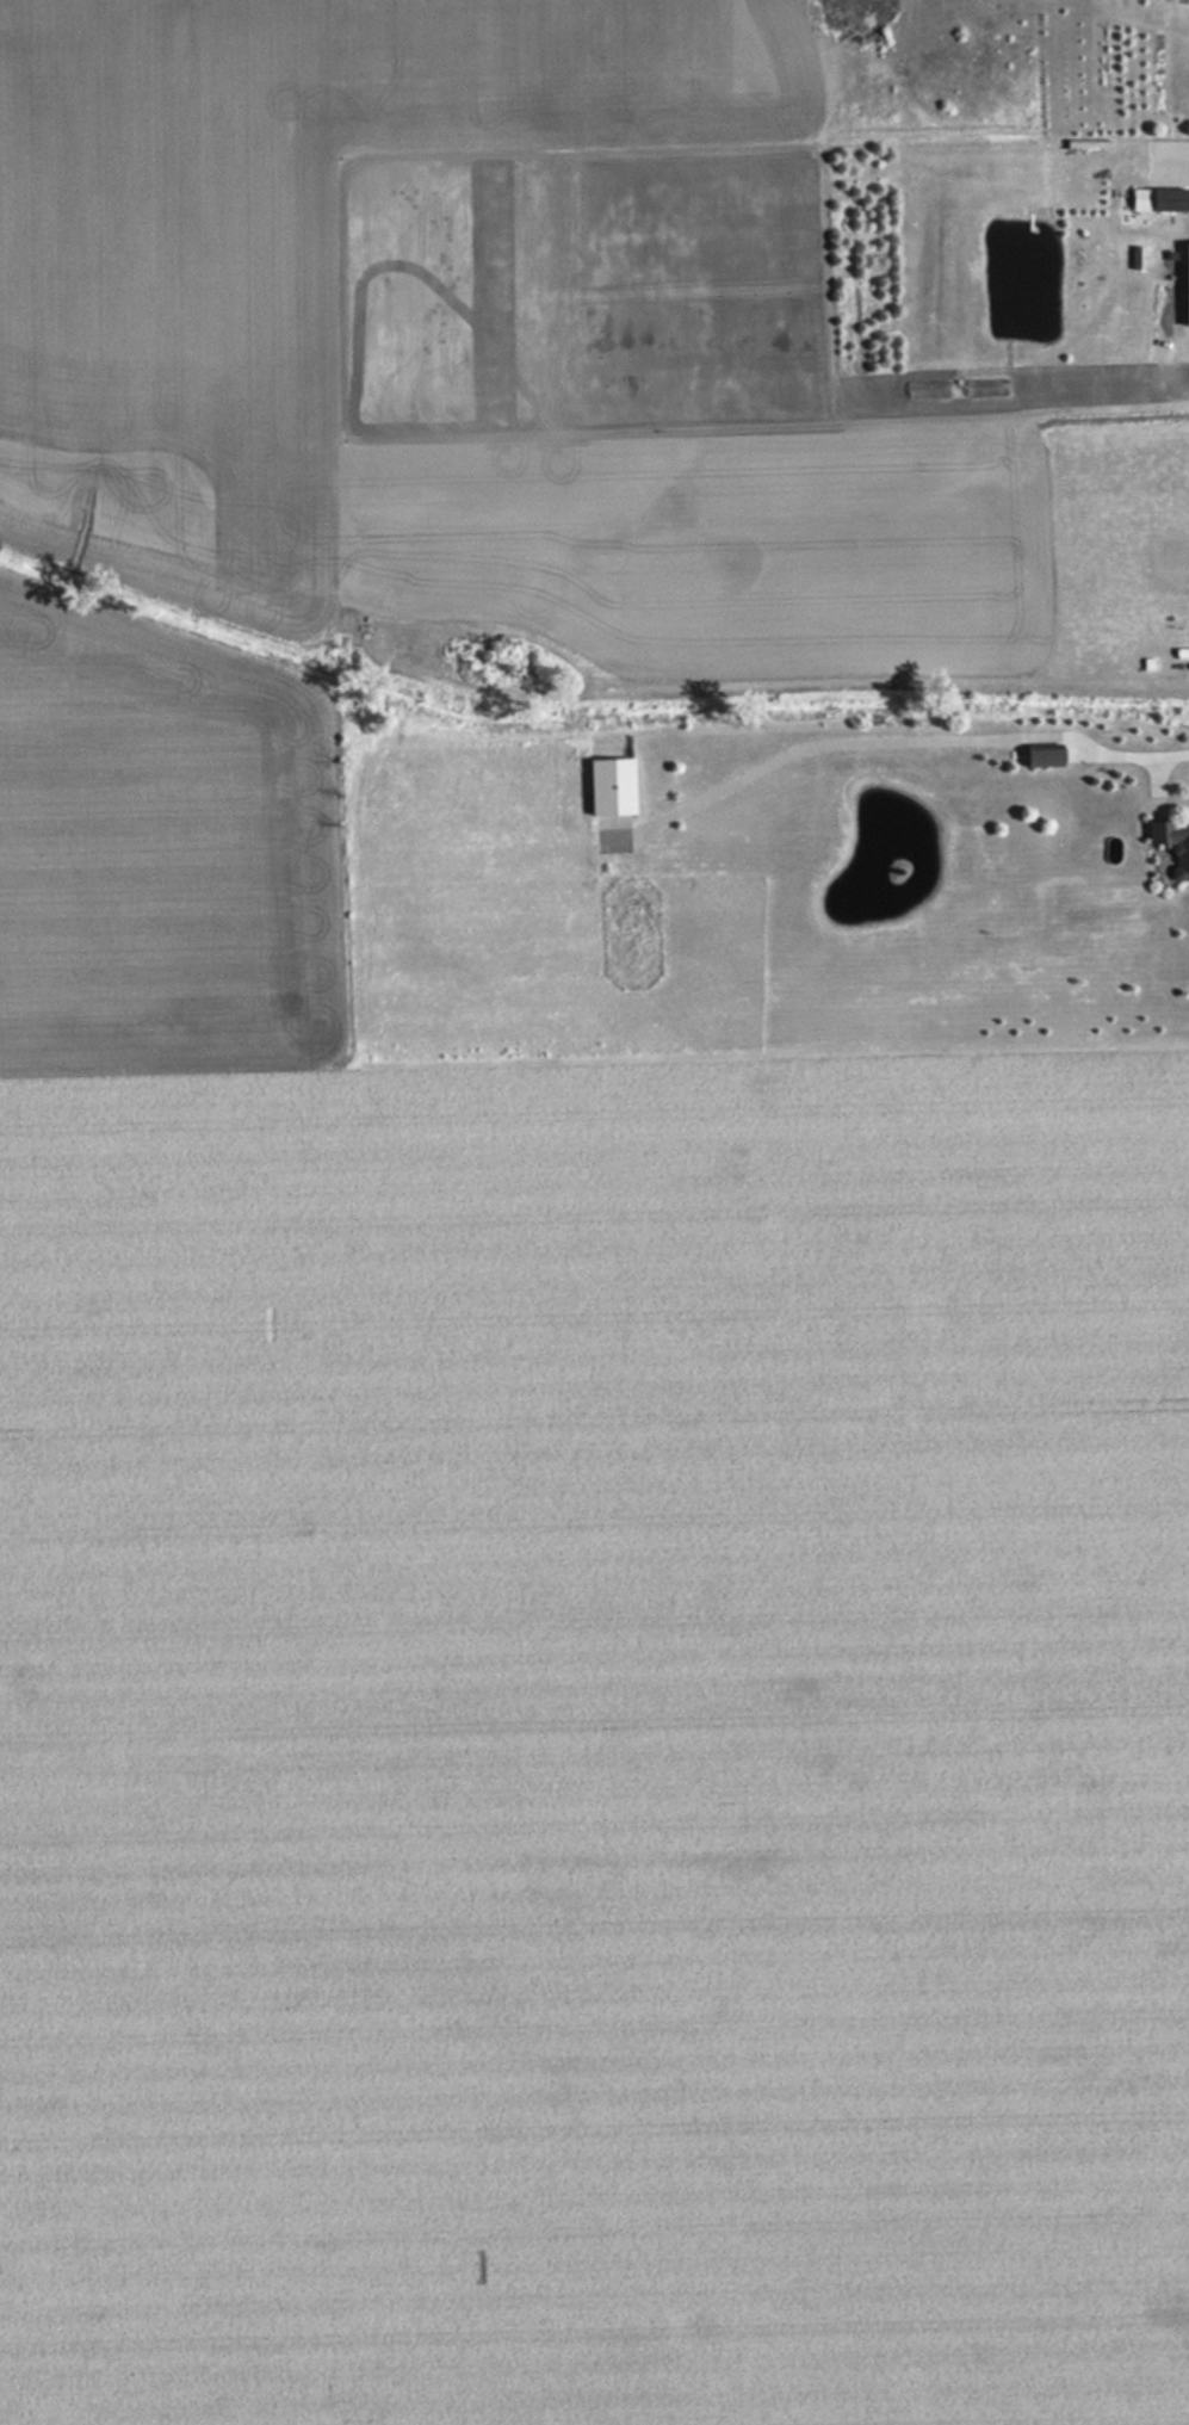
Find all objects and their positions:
building: (1171, 200)
building: (1048, 757)
building: (614, 786)
building: (1173, 845)

